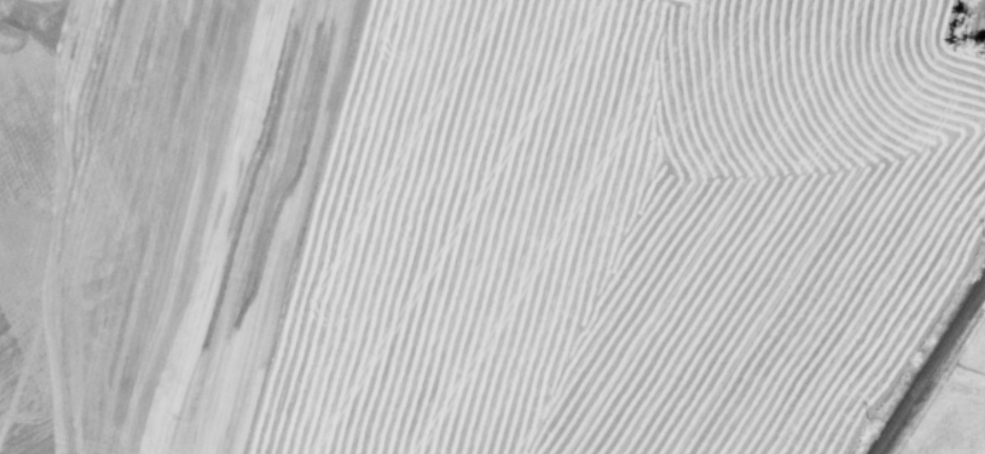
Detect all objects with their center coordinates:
crop: (476, 221)
railway: (927, 365)
crop: (953, 404)

